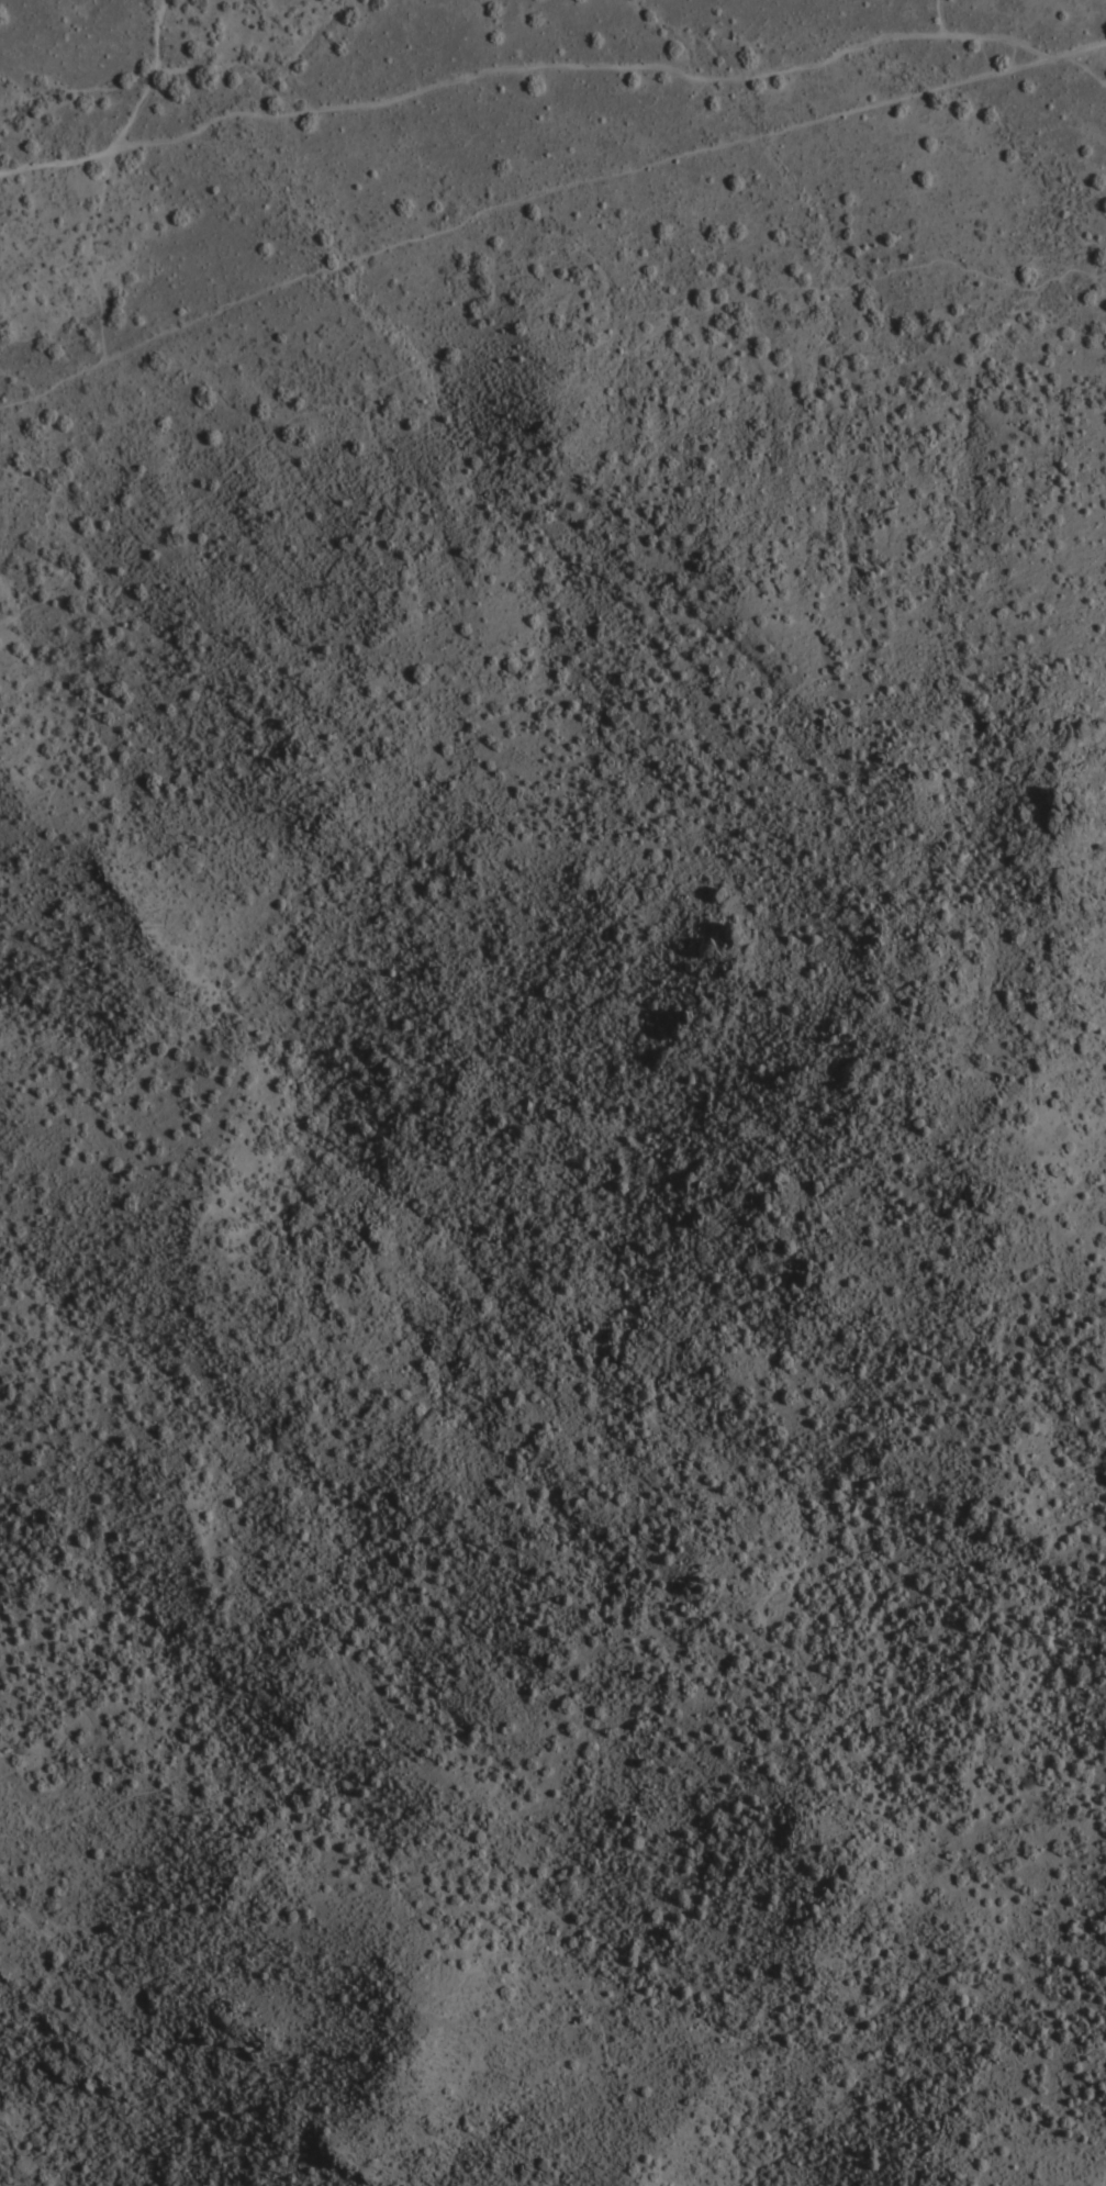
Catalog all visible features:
road: (971, 22)
road: (550, 67)
road: (1083, 68)
road: (155, 76)
road: (536, 207)
road: (91, 250)
road: (737, 299)
road: (15, 402)
road: (185, 510)
road: (544, 2004)

